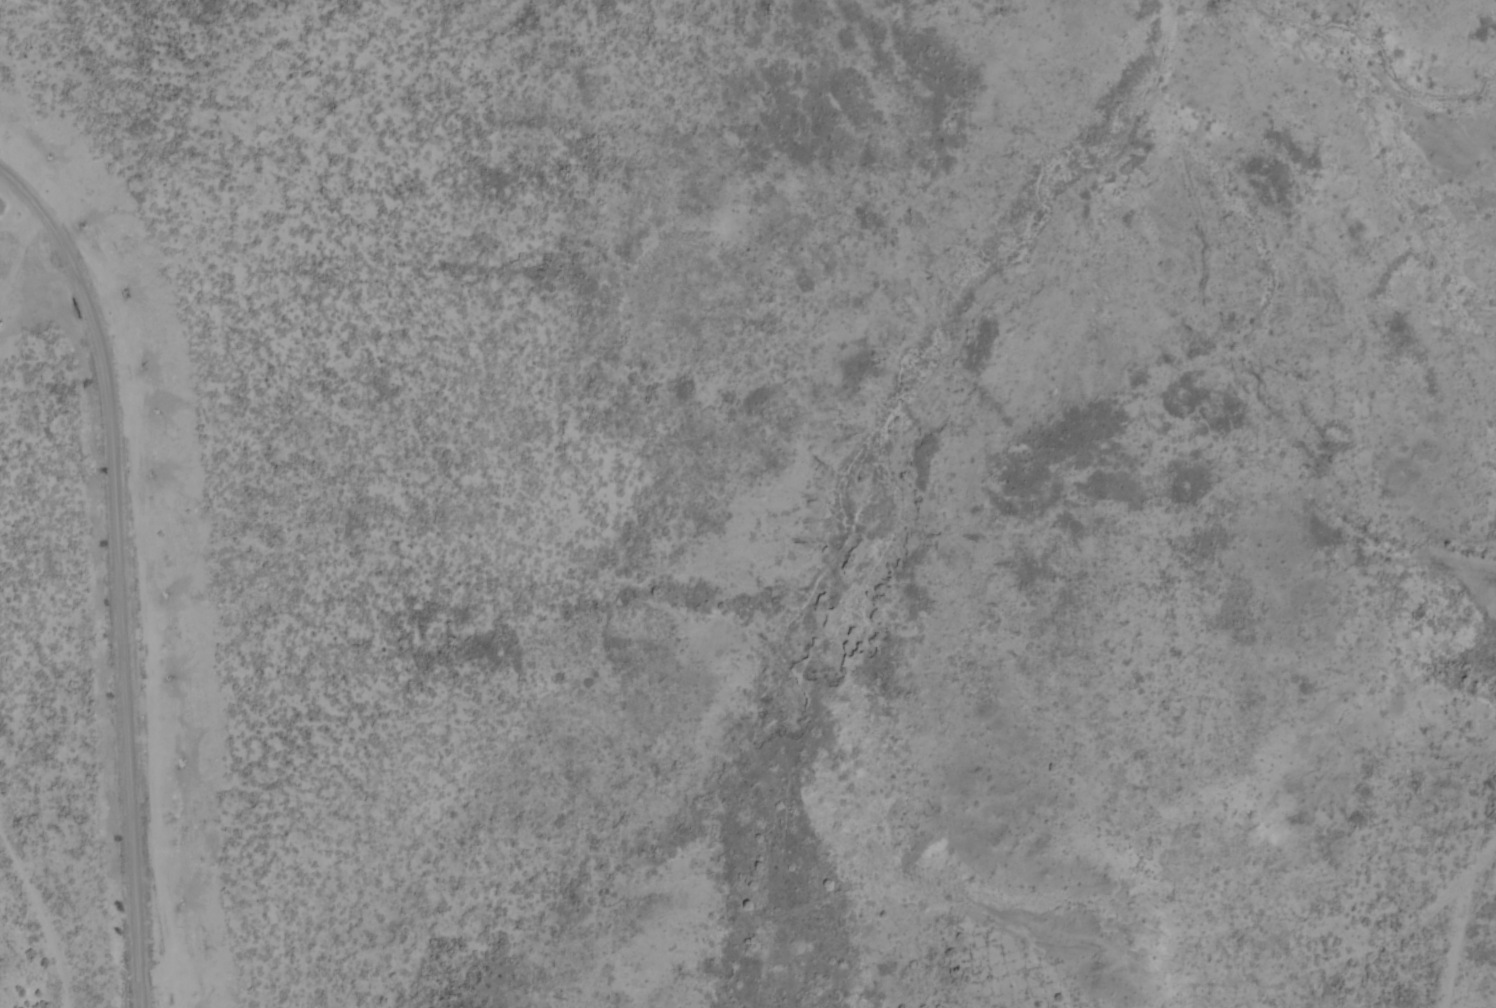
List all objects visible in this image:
road: (119, 574)

